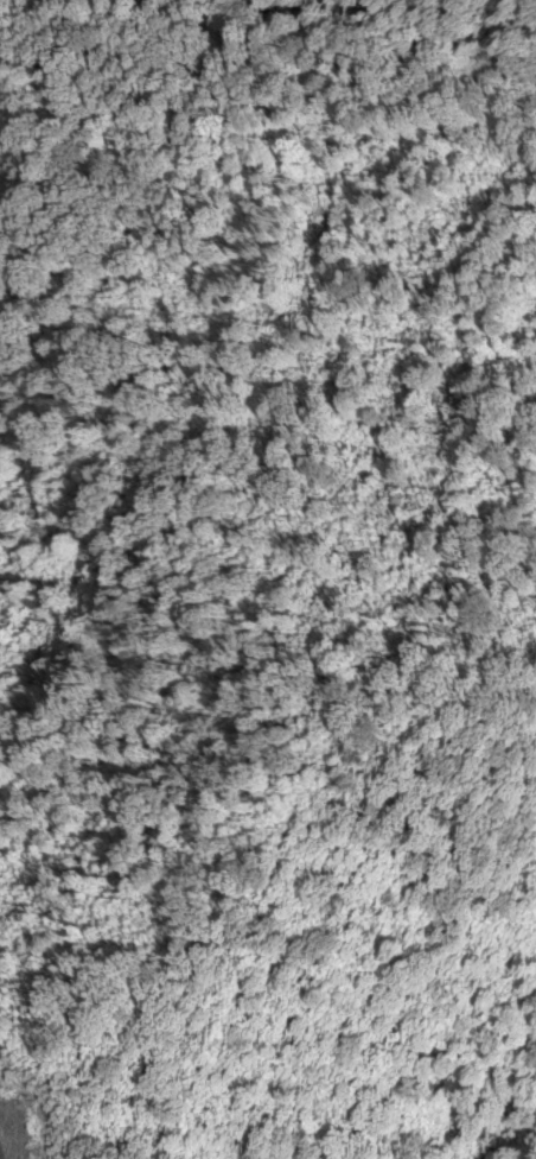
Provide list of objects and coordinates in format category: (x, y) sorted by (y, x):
quarry: (23, 1107)

